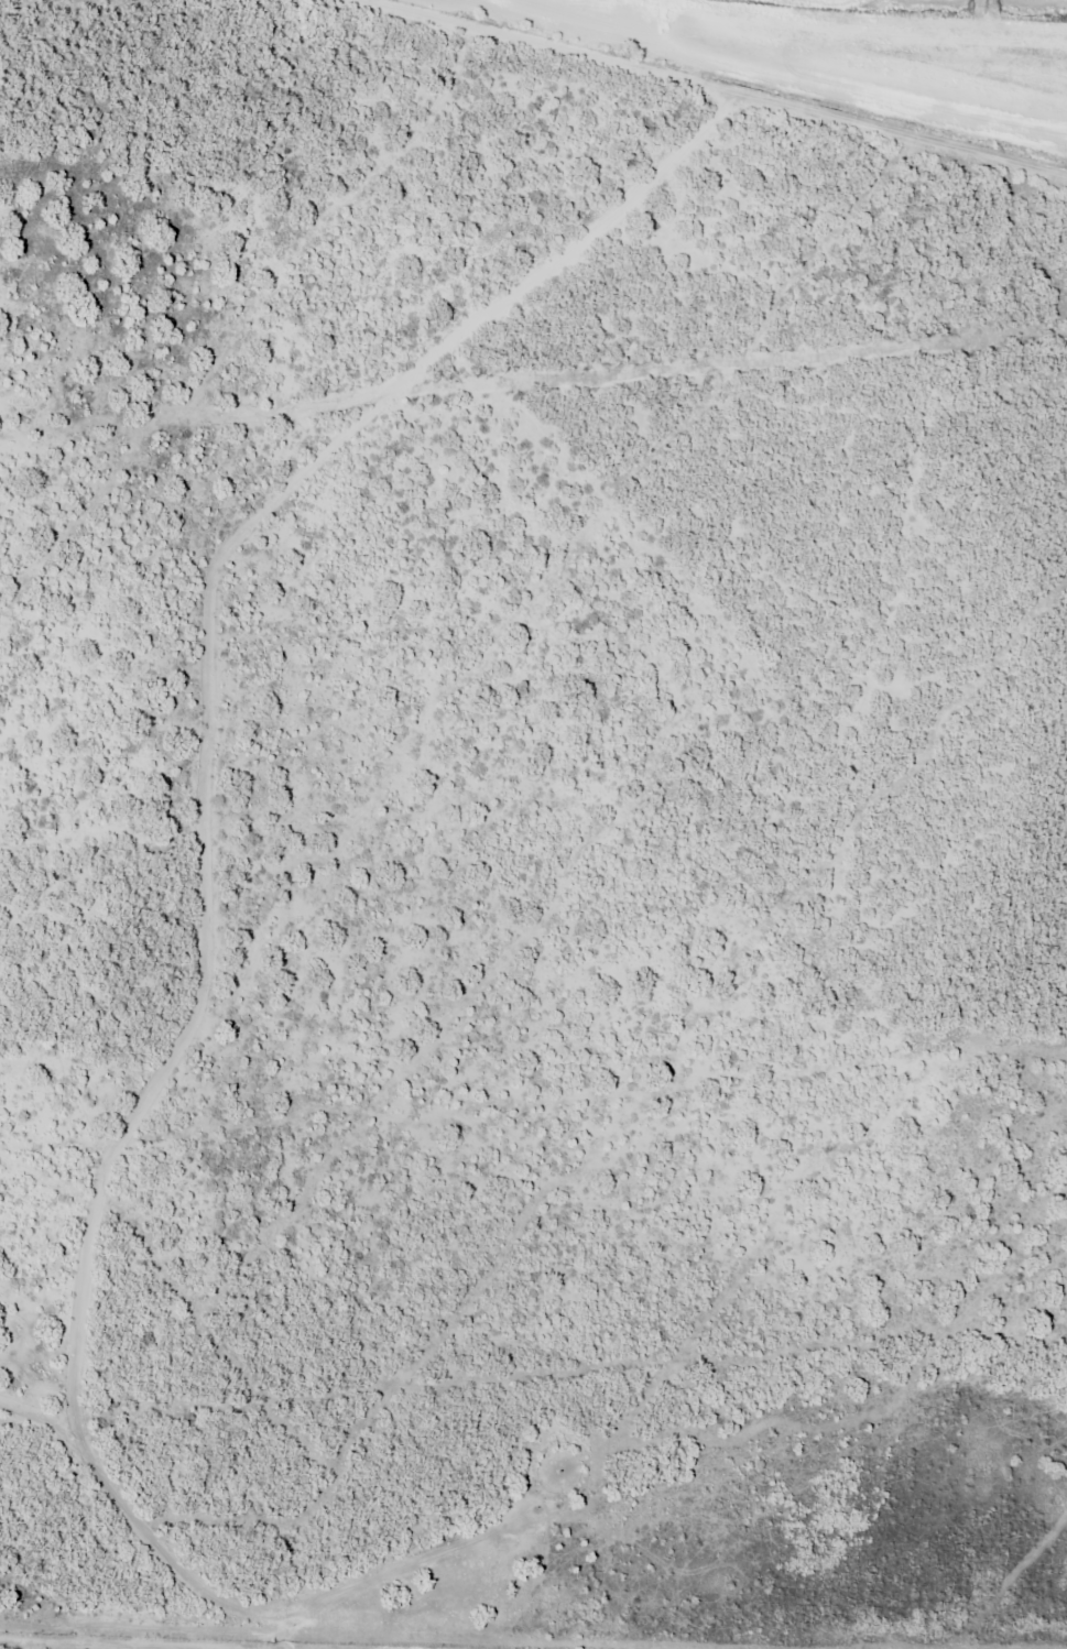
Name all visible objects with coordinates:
road: (771, 72)

